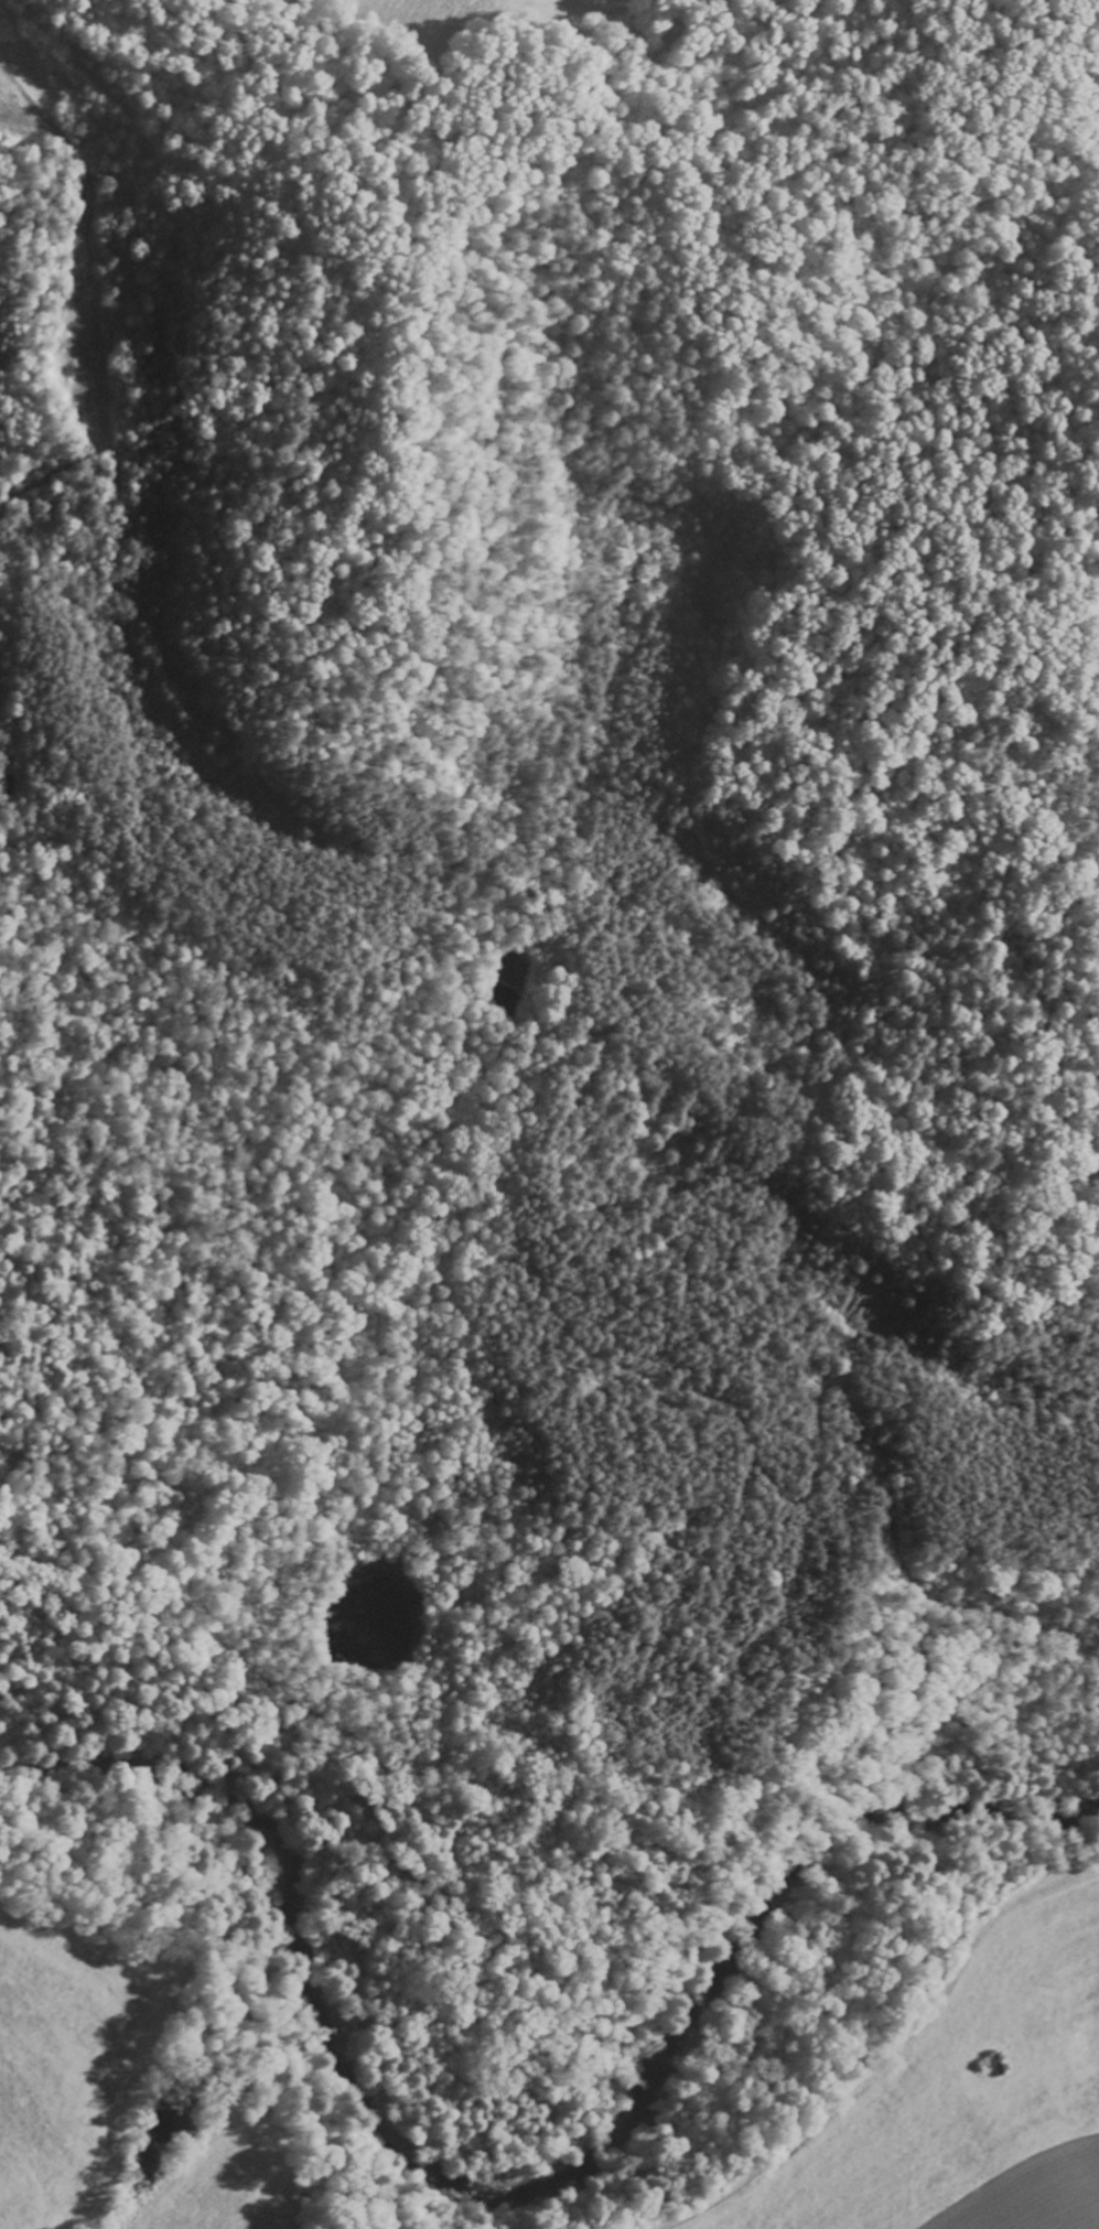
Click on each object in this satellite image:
road: (735, 2225)

